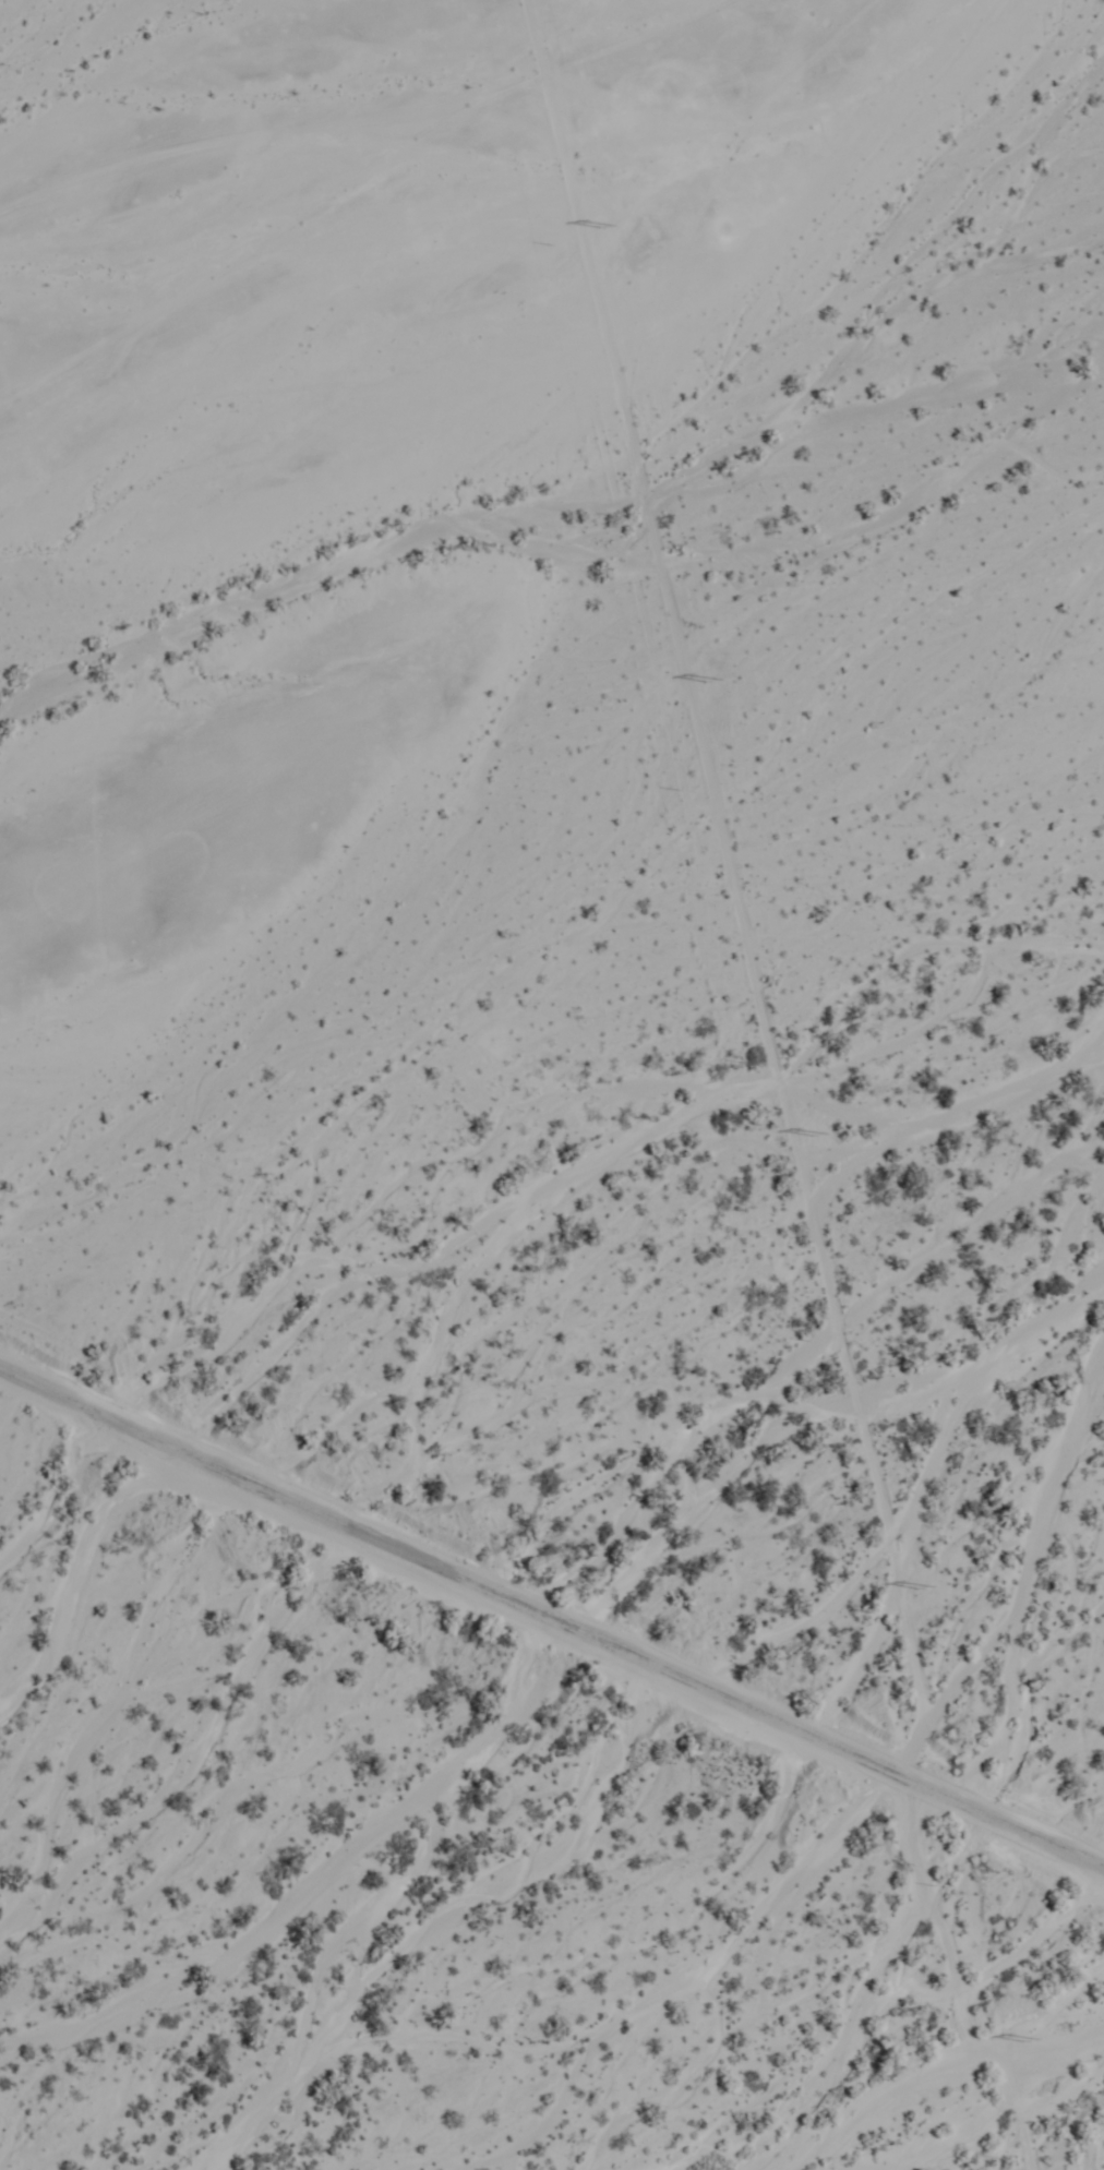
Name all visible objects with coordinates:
power tower: (607, 228)
power tower: (716, 685)
power tower: (824, 1136)
power tower: (924, 1588)
road: (551, 1621)
road: (951, 1982)
power tower: (1028, 2041)

